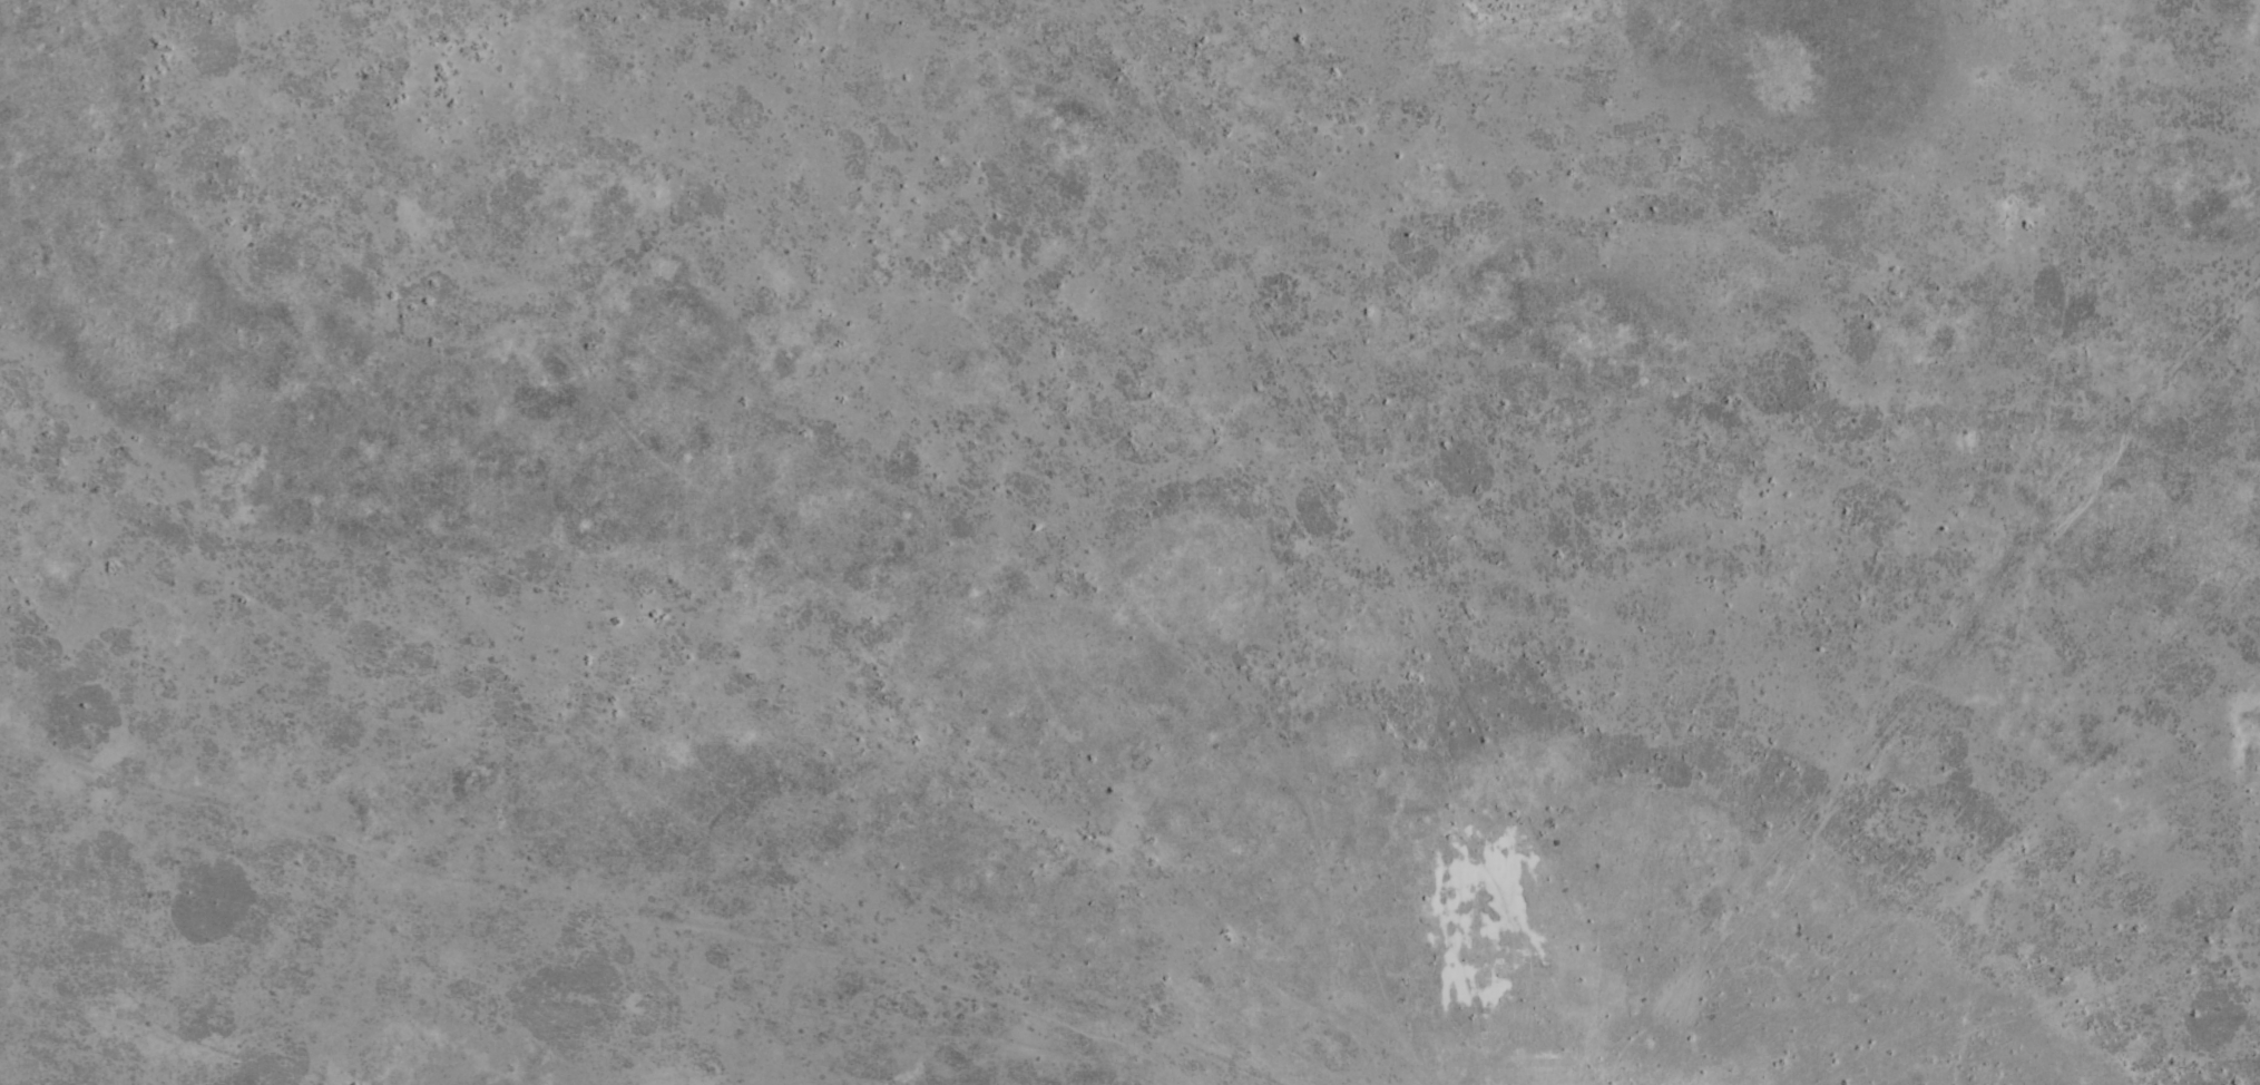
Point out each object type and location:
road: (1897, 672)

